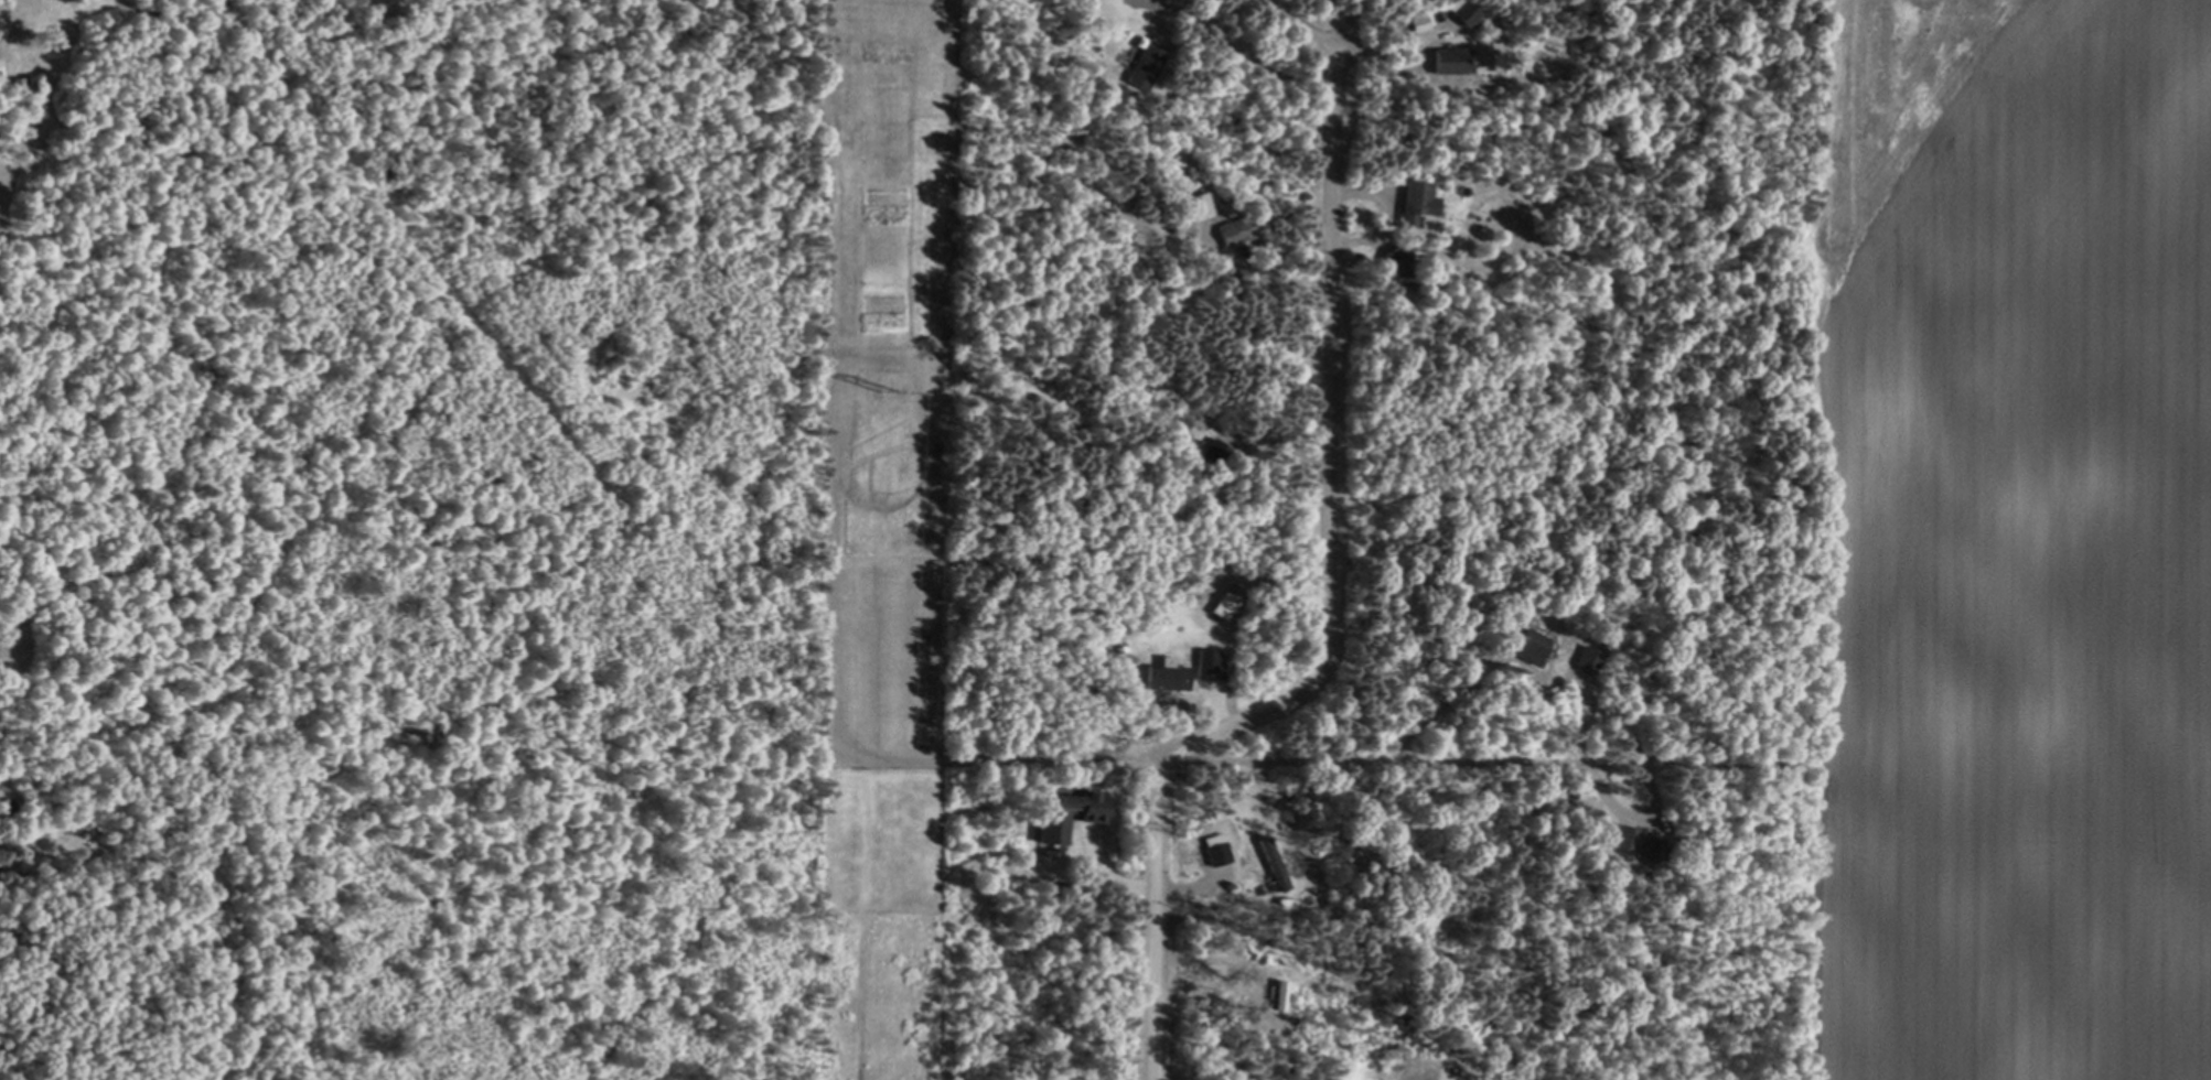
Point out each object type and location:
road: (1345, 48)
building: (1449, 60)
building: (1146, 66)
building: (1418, 202)
building: (1237, 229)
building: (1405, 264)
power tower: (889, 388)
building: (1220, 454)
crop: (2017, 544)
road: (1329, 608)
building: (1533, 644)
building: (1589, 658)
building: (1208, 665)
building: (1168, 677)
road: (1376, 759)
building: (1067, 811)
building: (1656, 850)

